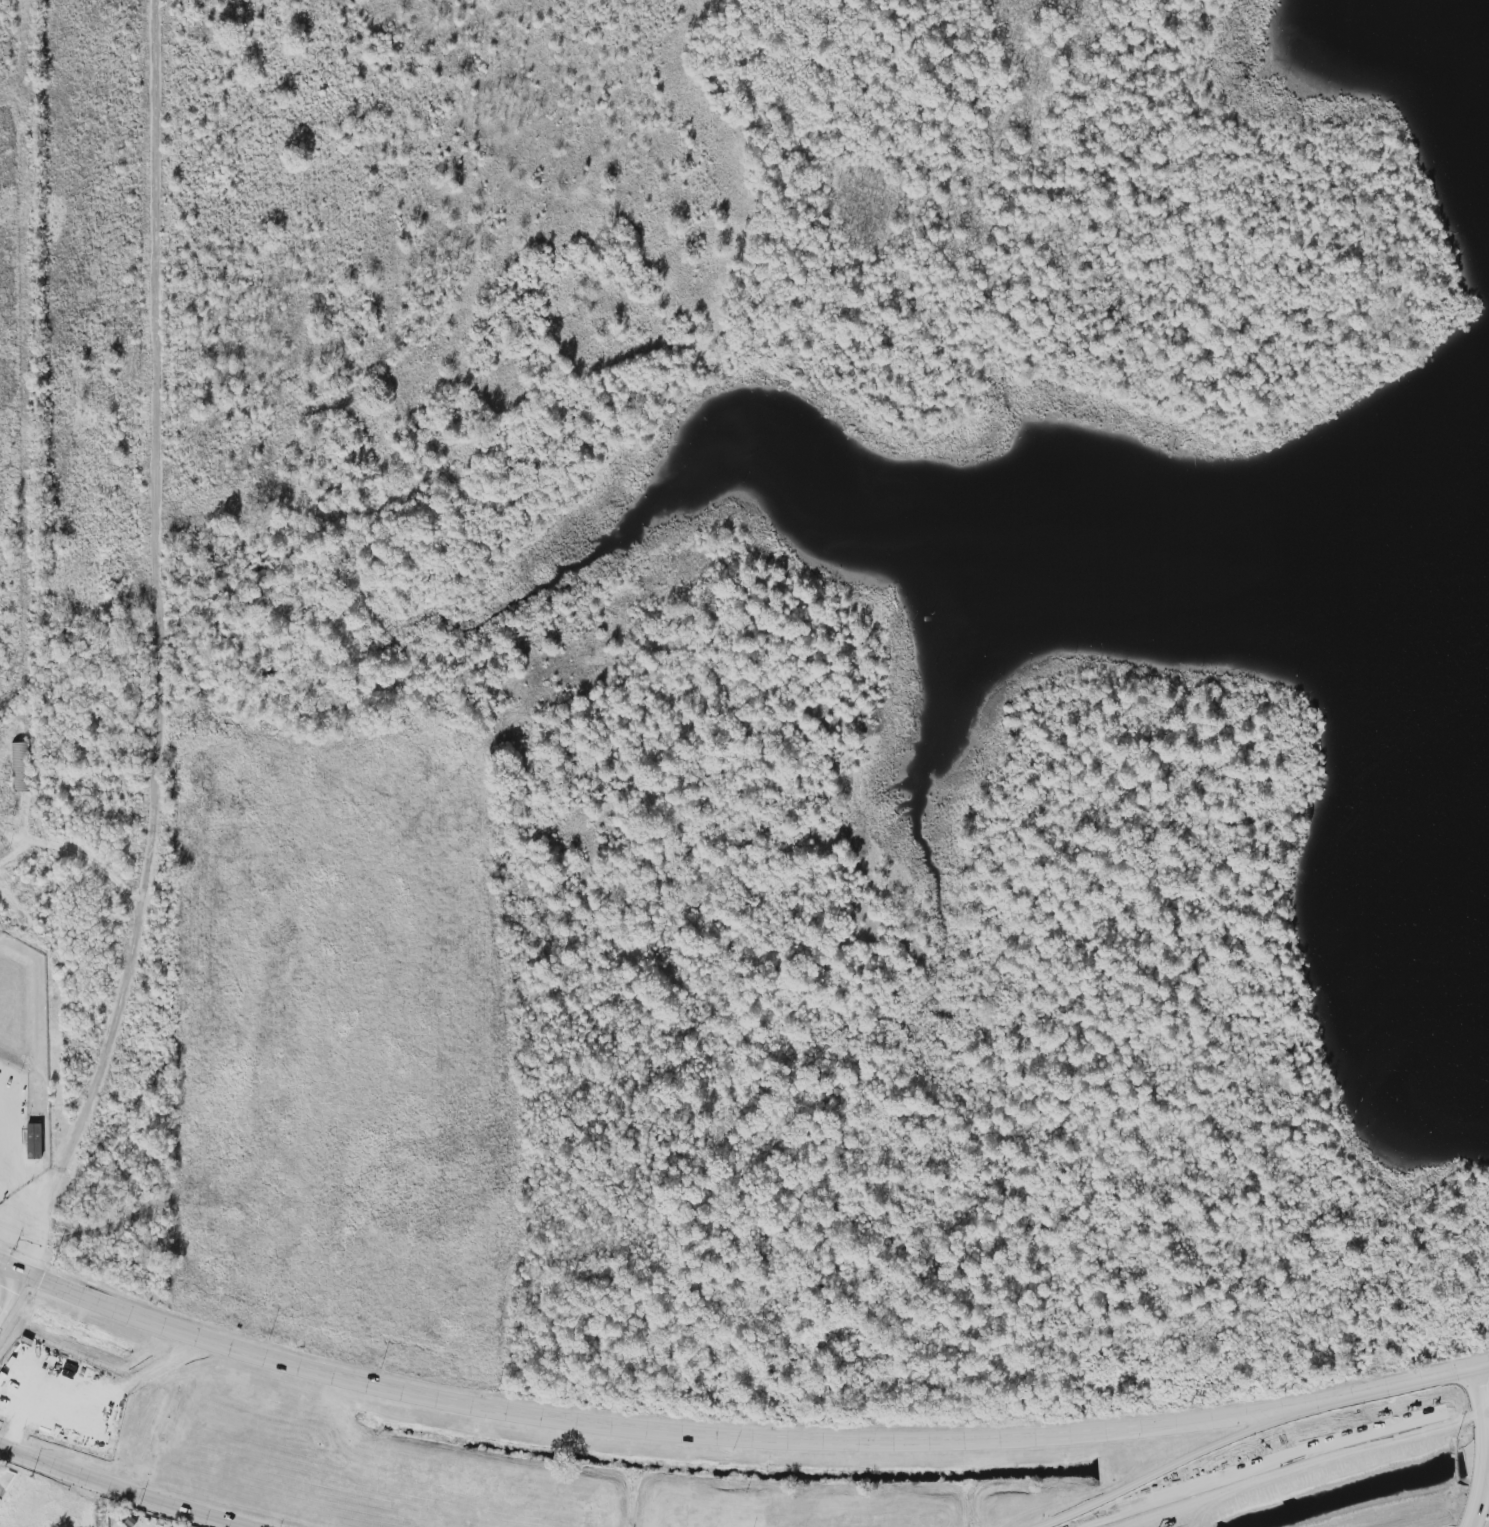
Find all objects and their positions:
road: (108, 1040)
building: (33, 1140)
road: (22, 1200)
traffic signals: (14, 1287)
road: (7, 1298)
road: (1483, 1366)
road: (1392, 1387)
road: (1432, 1420)
road: (1482, 1448)
road: (643, 1453)
road: (1240, 1474)
road: (121, 1489)

